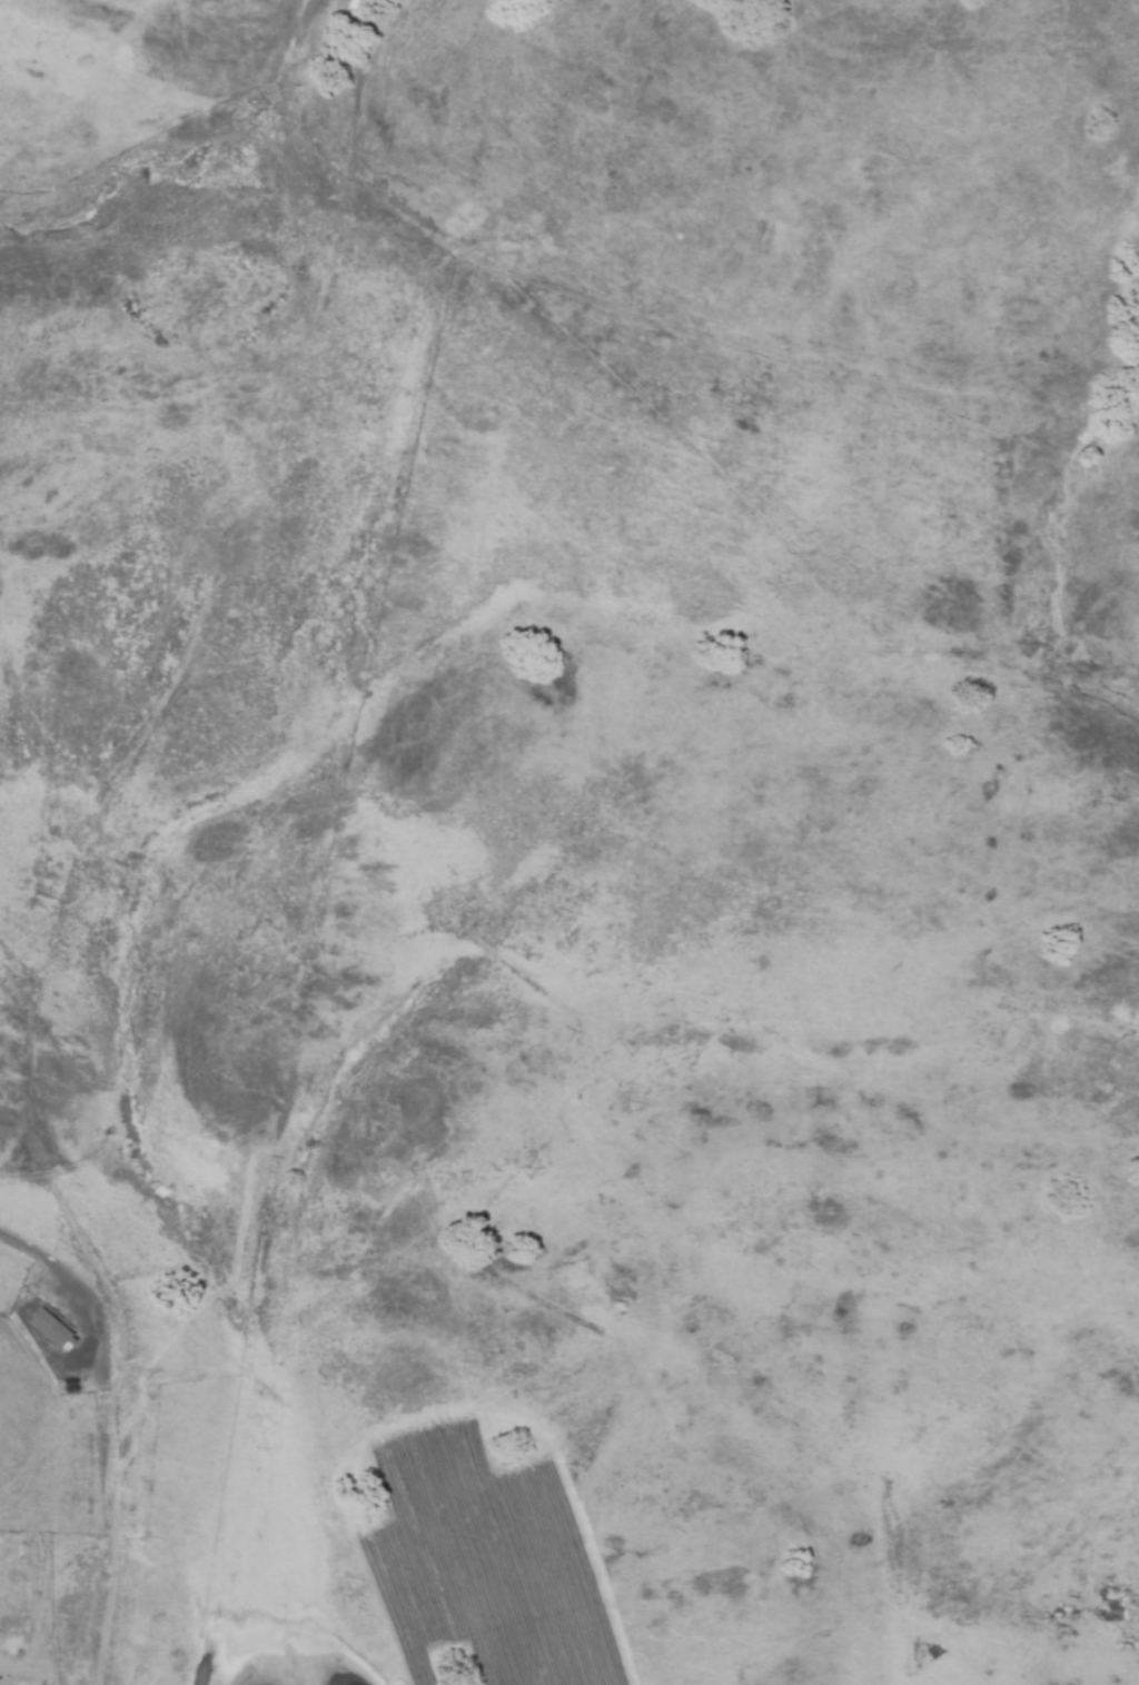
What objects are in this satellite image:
road: (70, 1281)
building: (51, 1331)
building: (72, 1387)

